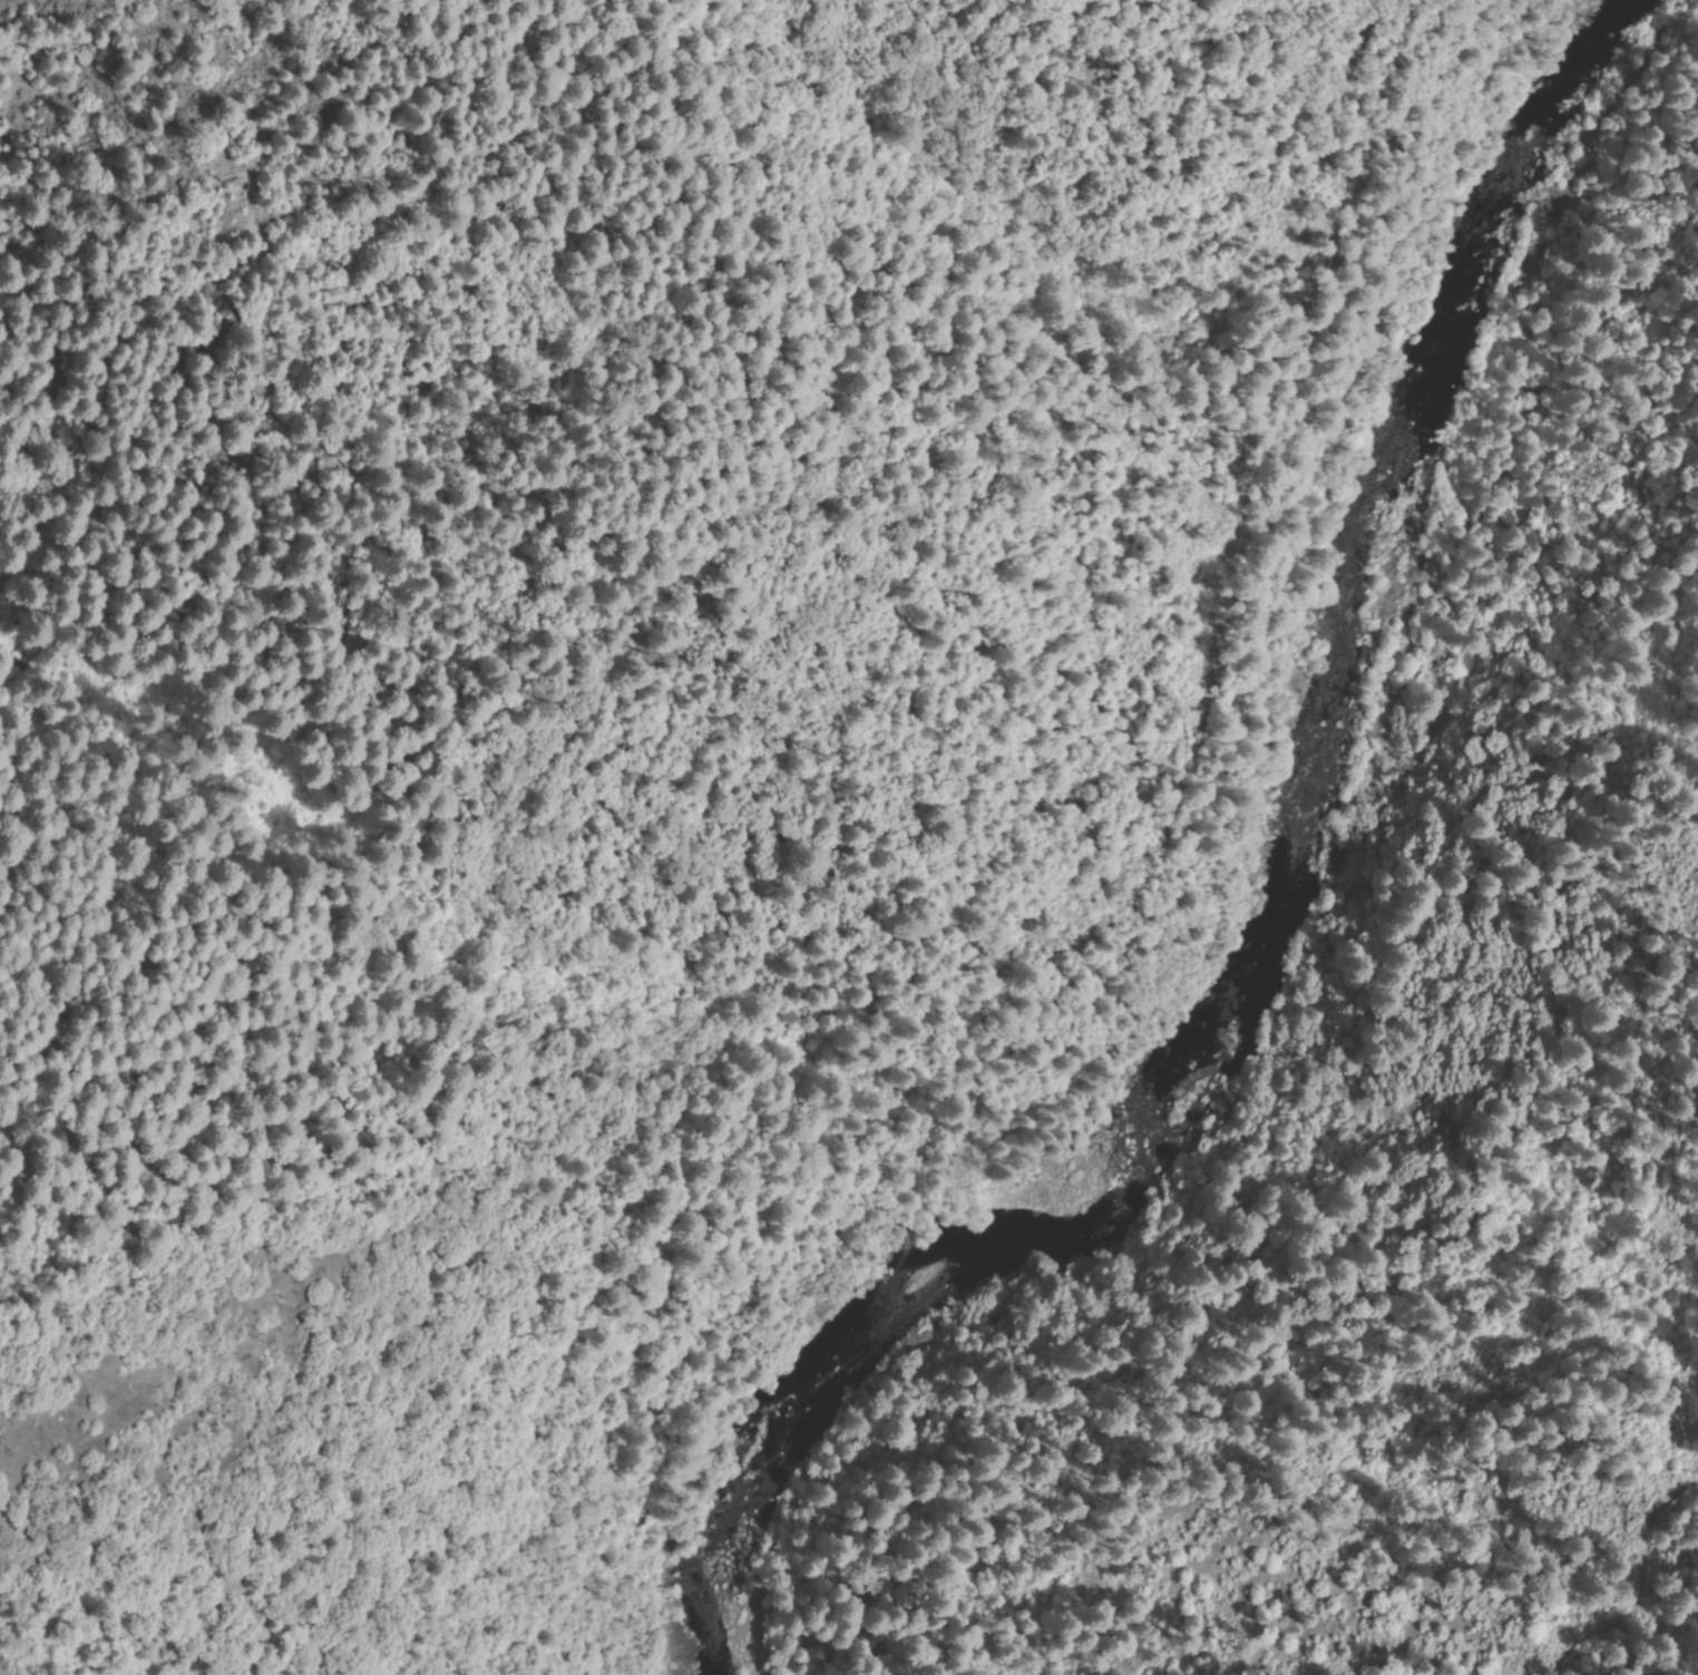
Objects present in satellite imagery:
road: (1648, 1590)

